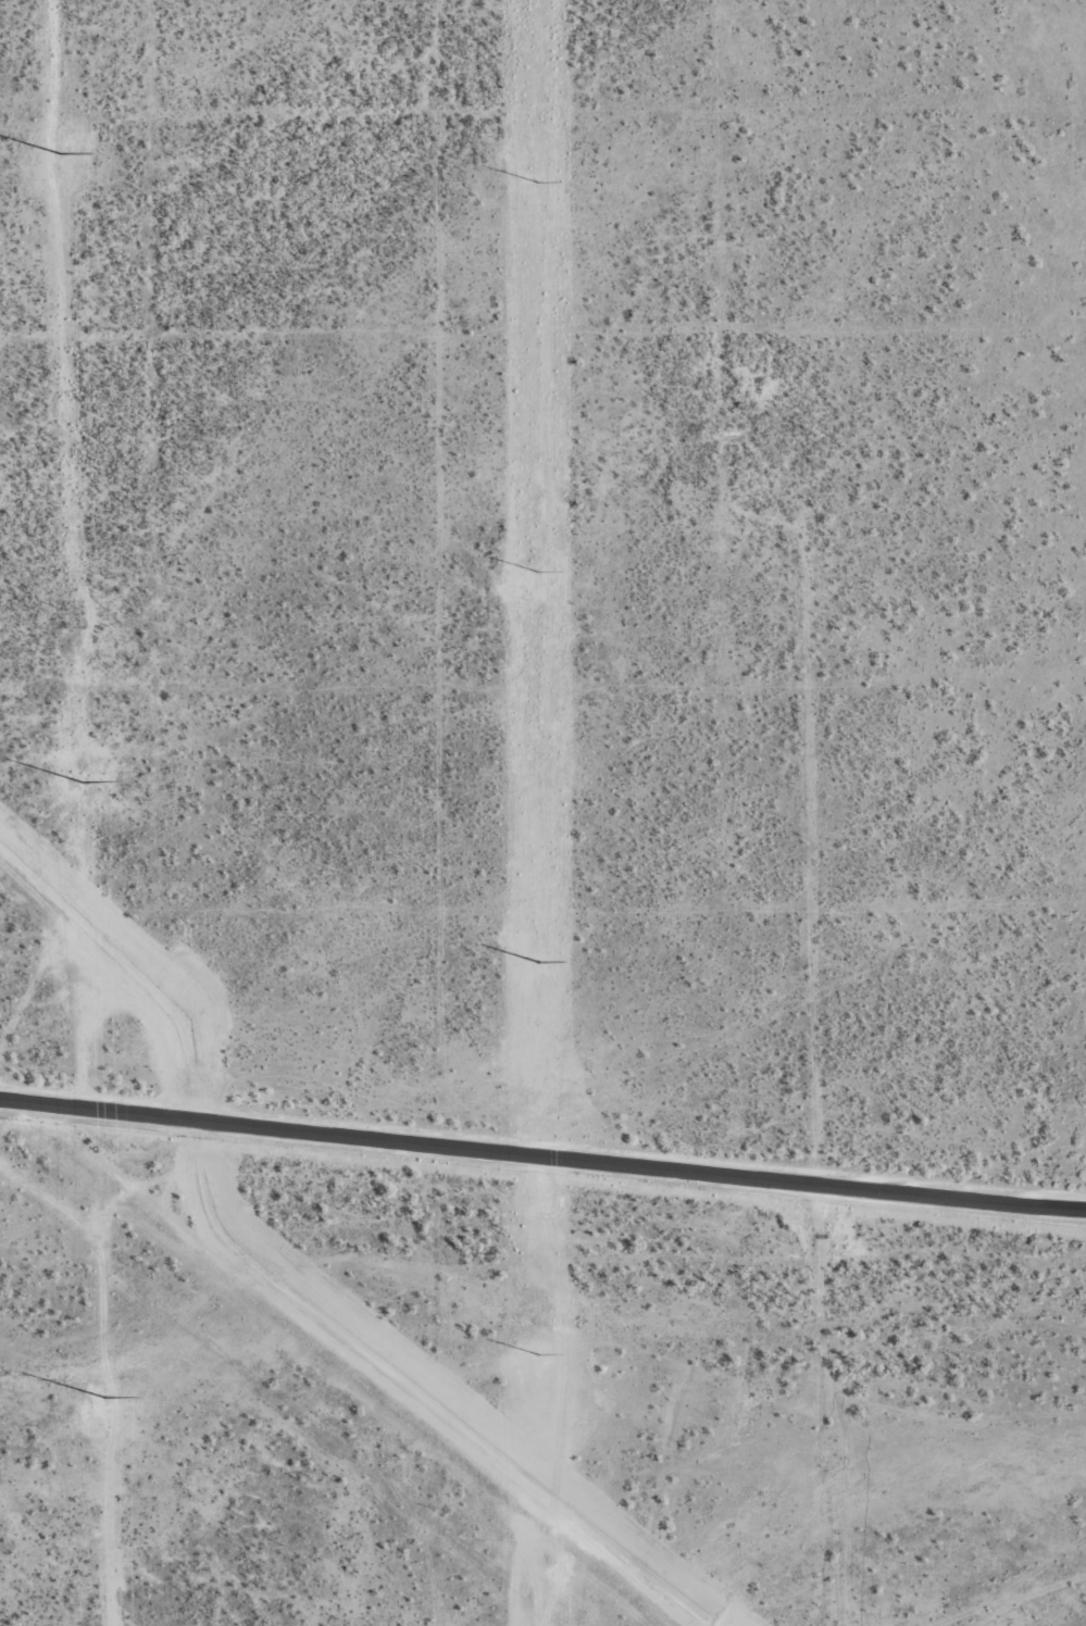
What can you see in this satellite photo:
power tower: (538, 175)
power tower: (538, 565)
power tower: (538, 954)
road: (812, 1061)
road: (541, 1162)
power tower: (537, 1347)
road: (956, 1396)

